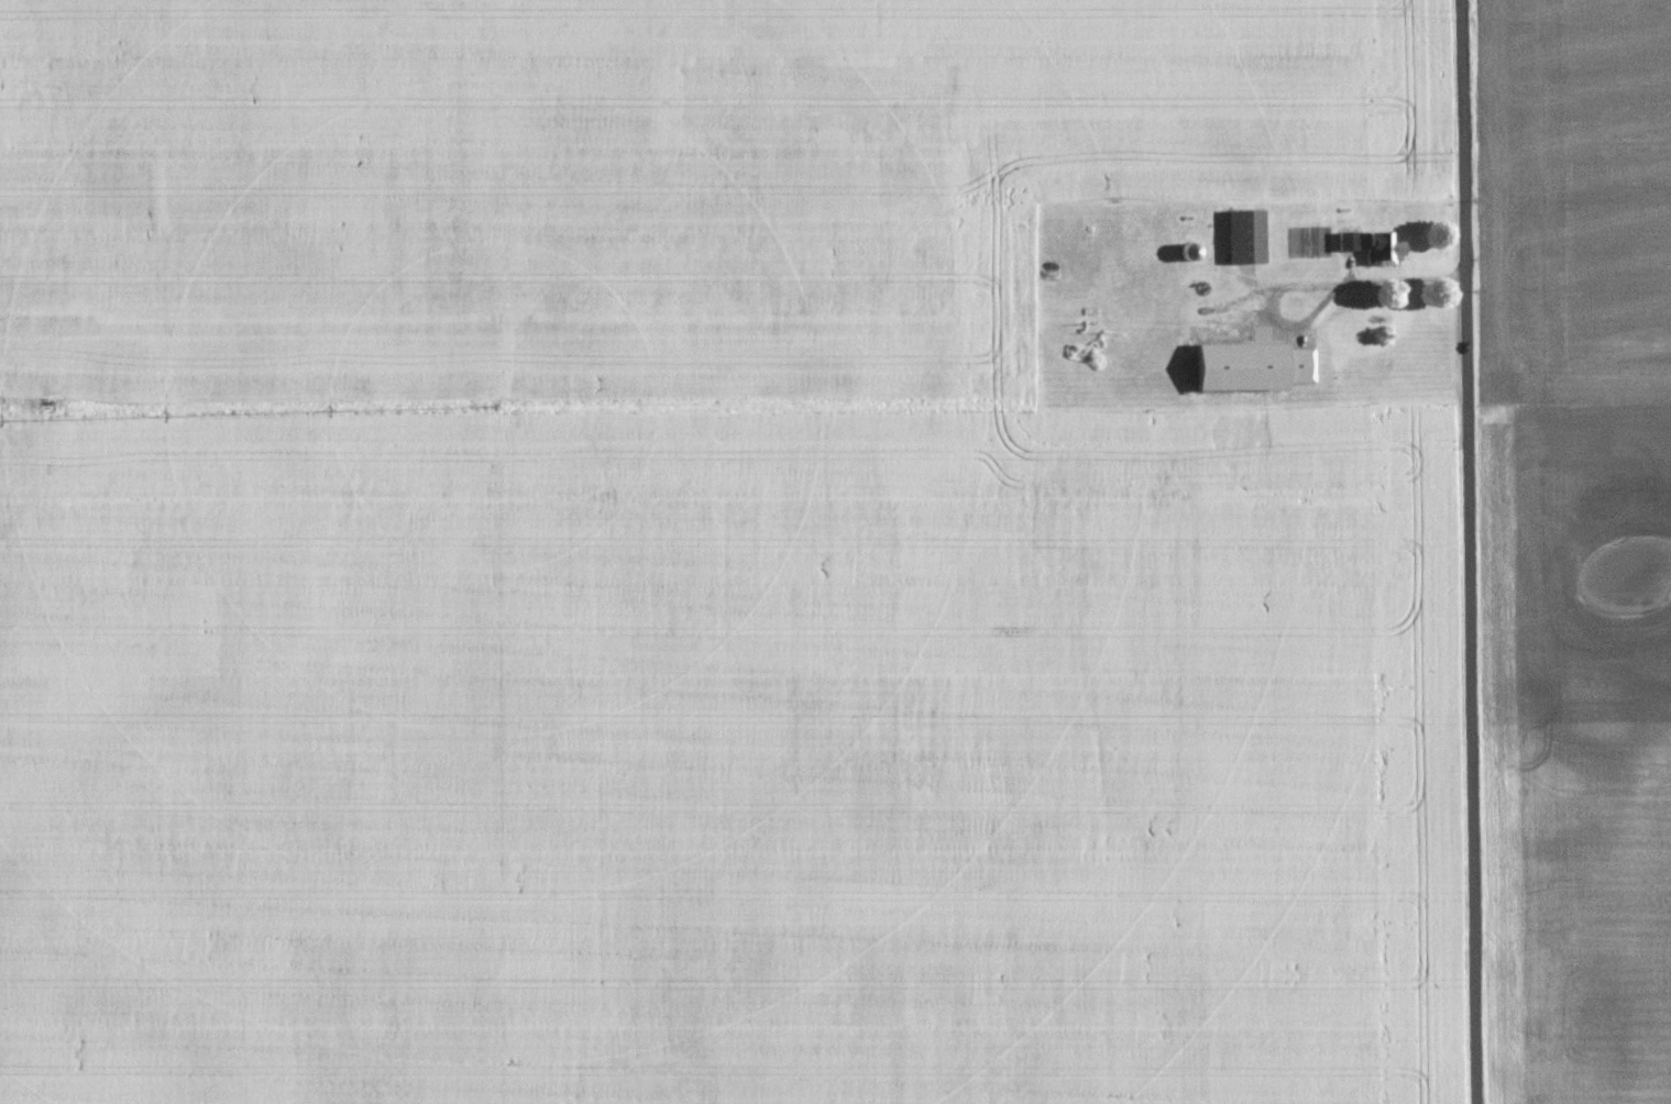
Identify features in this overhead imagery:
building: (1245, 235)
building: (1371, 246)
building: (1186, 252)
road: (1323, 288)
building: (1231, 318)
road: (1477, 551)
crop: (692, 566)

